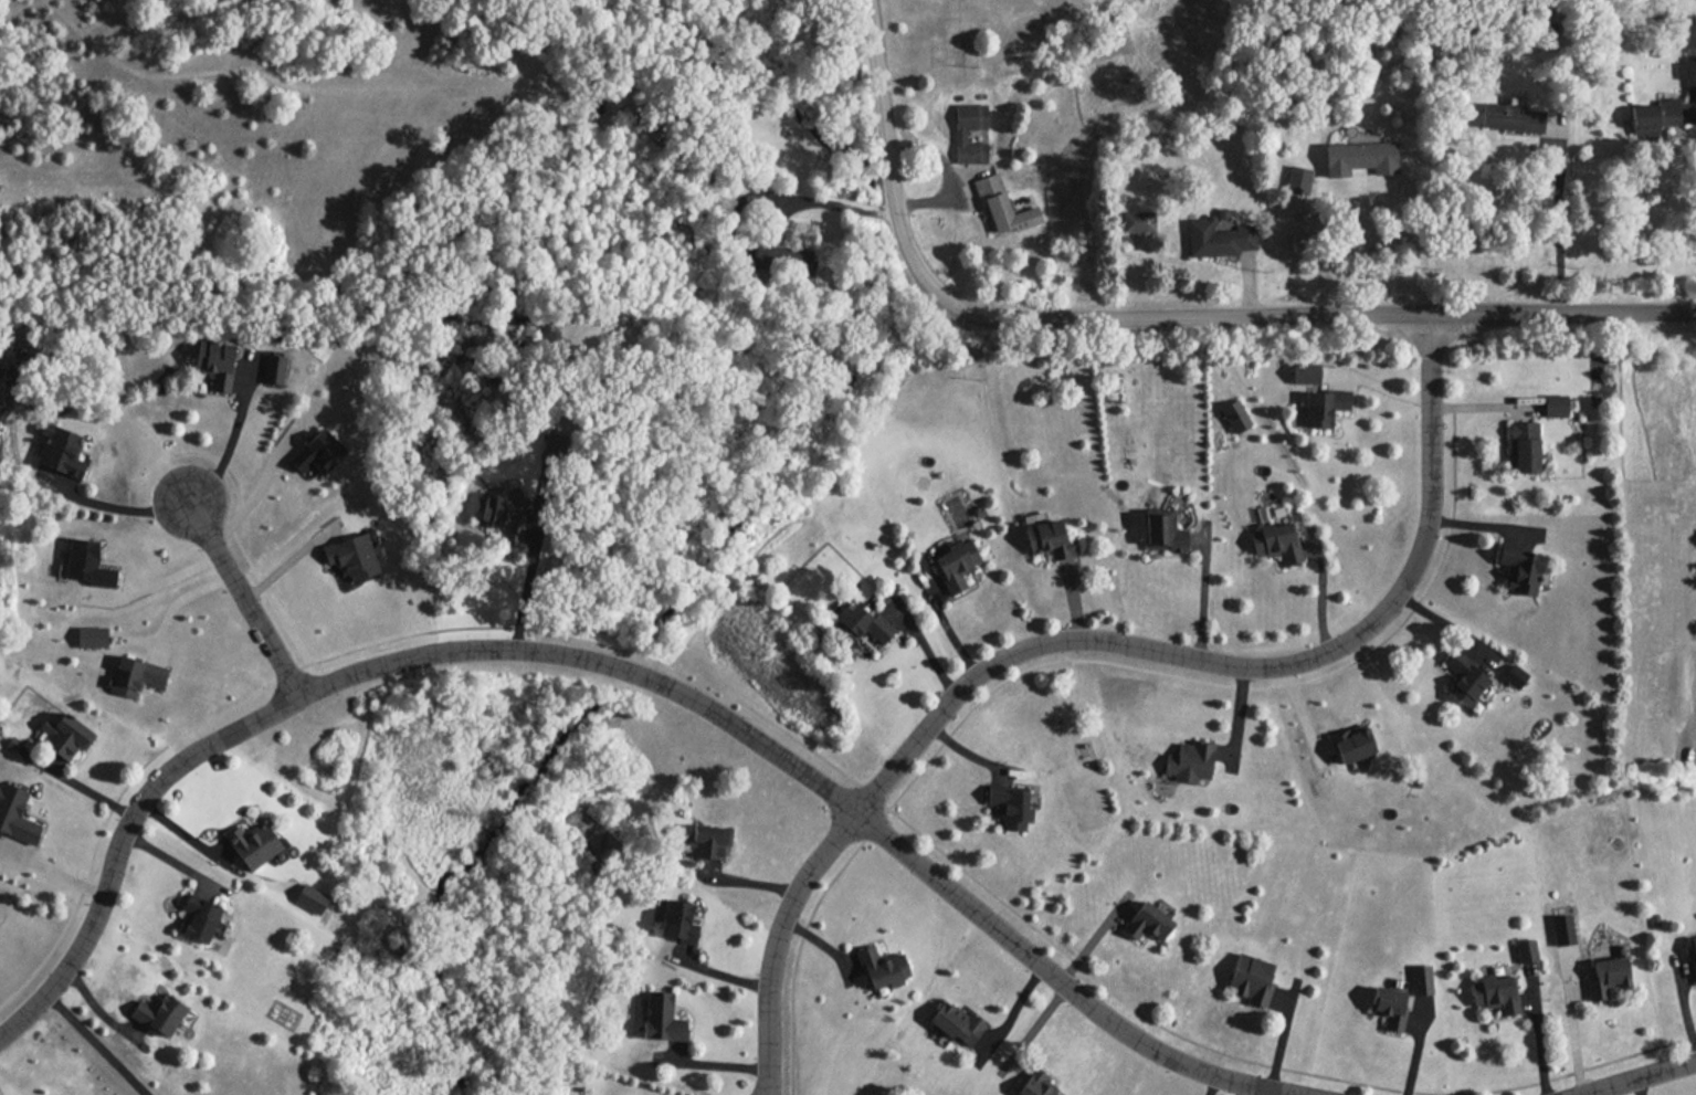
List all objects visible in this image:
building: (1686, 70)
building: (1510, 115)
building: (1654, 115)
building: (961, 135)
building: (1359, 157)
building: (1297, 178)
road: (825, 204)
building: (1003, 204)
building: (1137, 220)
road: (1560, 227)
building: (1218, 236)
road: (1391, 252)
building: (783, 259)
road: (1157, 318)
building: (215, 361)
building: (274, 367)
building: (1305, 372)
road: (1377, 386)
building: (1555, 404)
building: (1323, 406)
building: (1235, 414)
road: (232, 441)
building: (1524, 444)
building: (552, 445)
building: (61, 449)
building: (317, 451)
building: (64, 477)
road: (254, 488)
road: (125, 509)
building: (505, 515)
road: (1483, 520)
building: (1162, 530)
building: (1047, 536)
building: (1276, 540)
building: (351, 556)
building: (87, 562)
building: (956, 564)
building: (1520, 567)
road: (160, 576)
road: (1202, 590)
road: (244, 594)
road: (176, 599)
building: (860, 623)
building: (92, 635)
road: (1092, 636)
road: (924, 644)
road: (628, 667)
building: (136, 674)
building: (1514, 675)
building: (1464, 678)
building: (65, 735)
building: (1352, 743)
building: (1189, 760)
road: (81, 786)
building: (1010, 804)
building: (15, 813)
building: (708, 840)
building: (253, 843)
road: (52, 868)
building: (310, 897)
building: (200, 917)
building: (677, 920)
building: (1147, 922)
building: (1561, 929)
building: (1526, 949)
building: (1693, 957)
building: (882, 967)
building: (1605, 976)
building: (1251, 978)
building: (1421, 979)
building: (1495, 992)
building: (1389, 1005)
building: (159, 1013)
building: (662, 1017)
building: (956, 1022)
road: (95, 1044)
road: (1633, 1076)
building: (1035, 1085)

